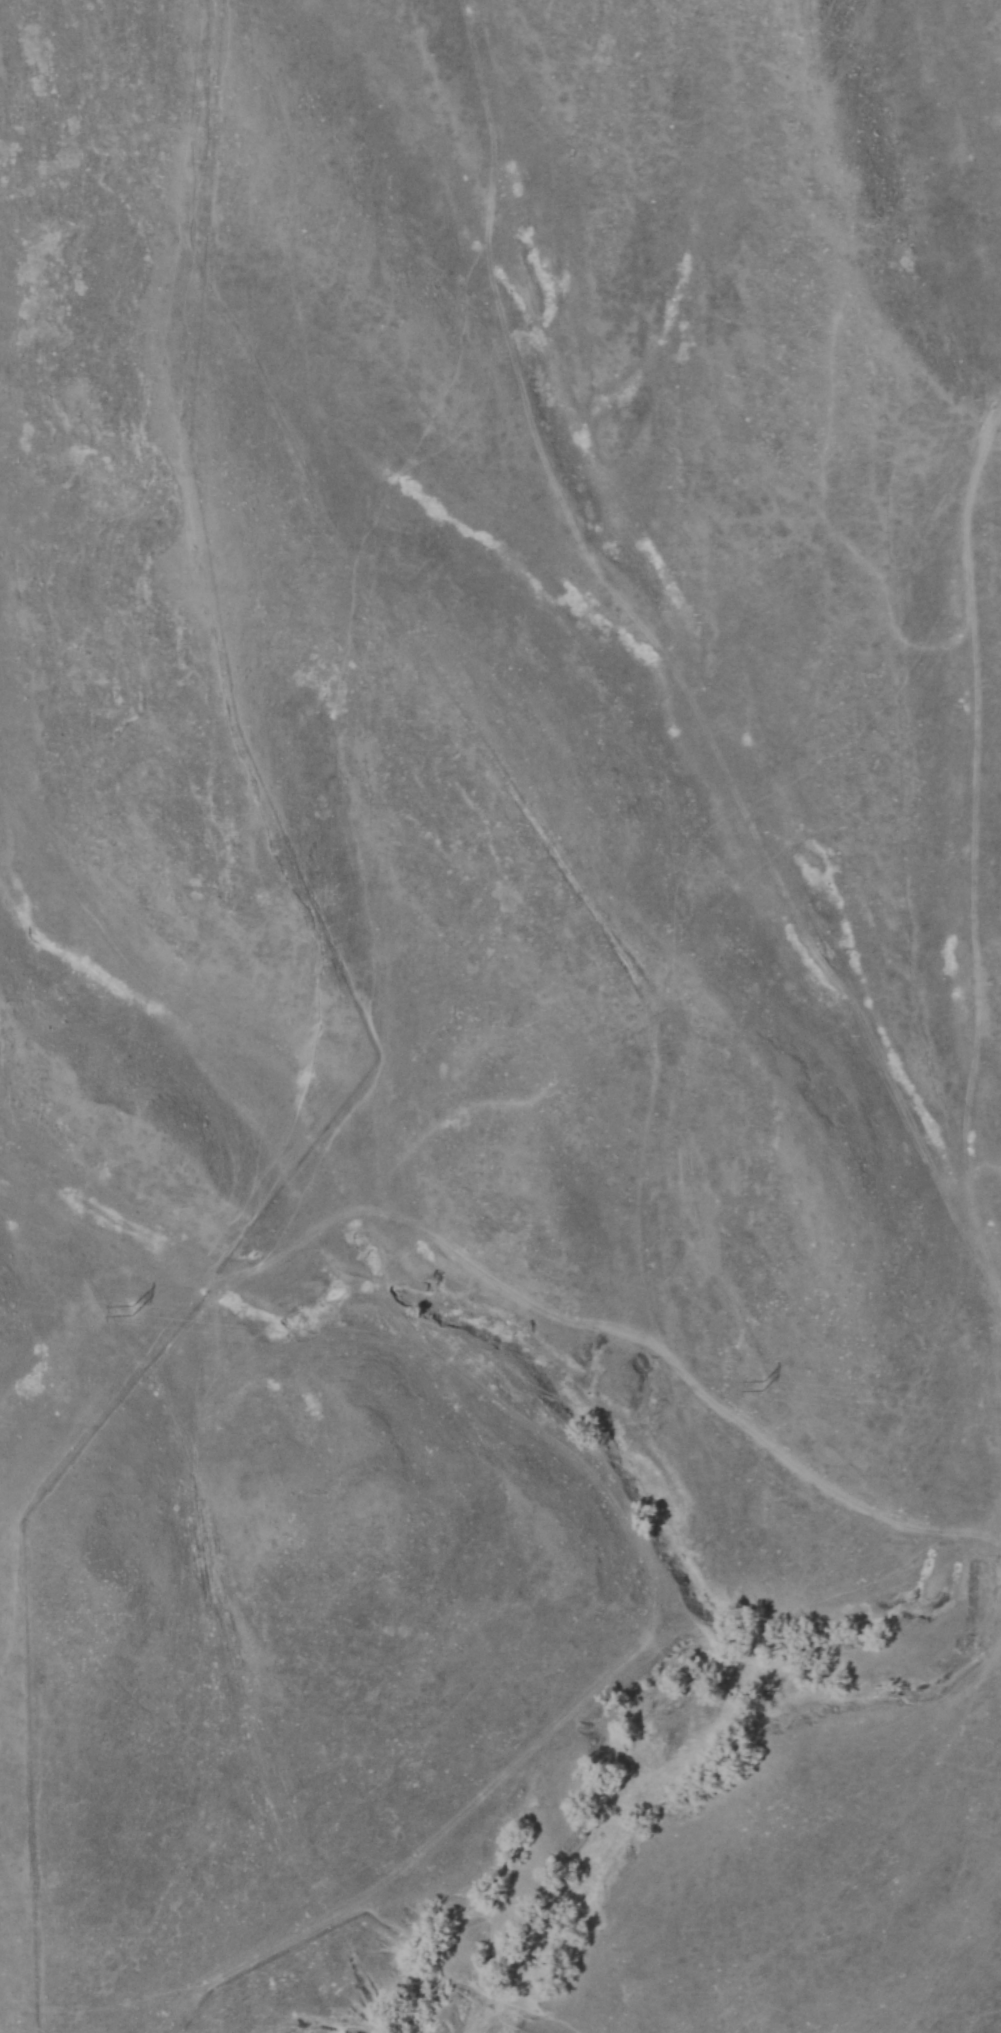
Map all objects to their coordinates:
power tower: (133, 1312)
power tower: (764, 1388)

